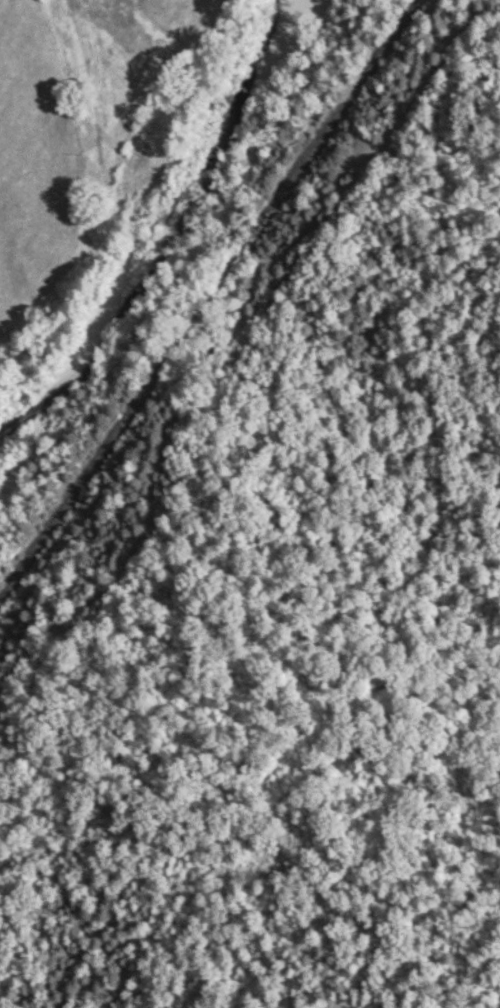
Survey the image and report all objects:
railway: (208, 299)

